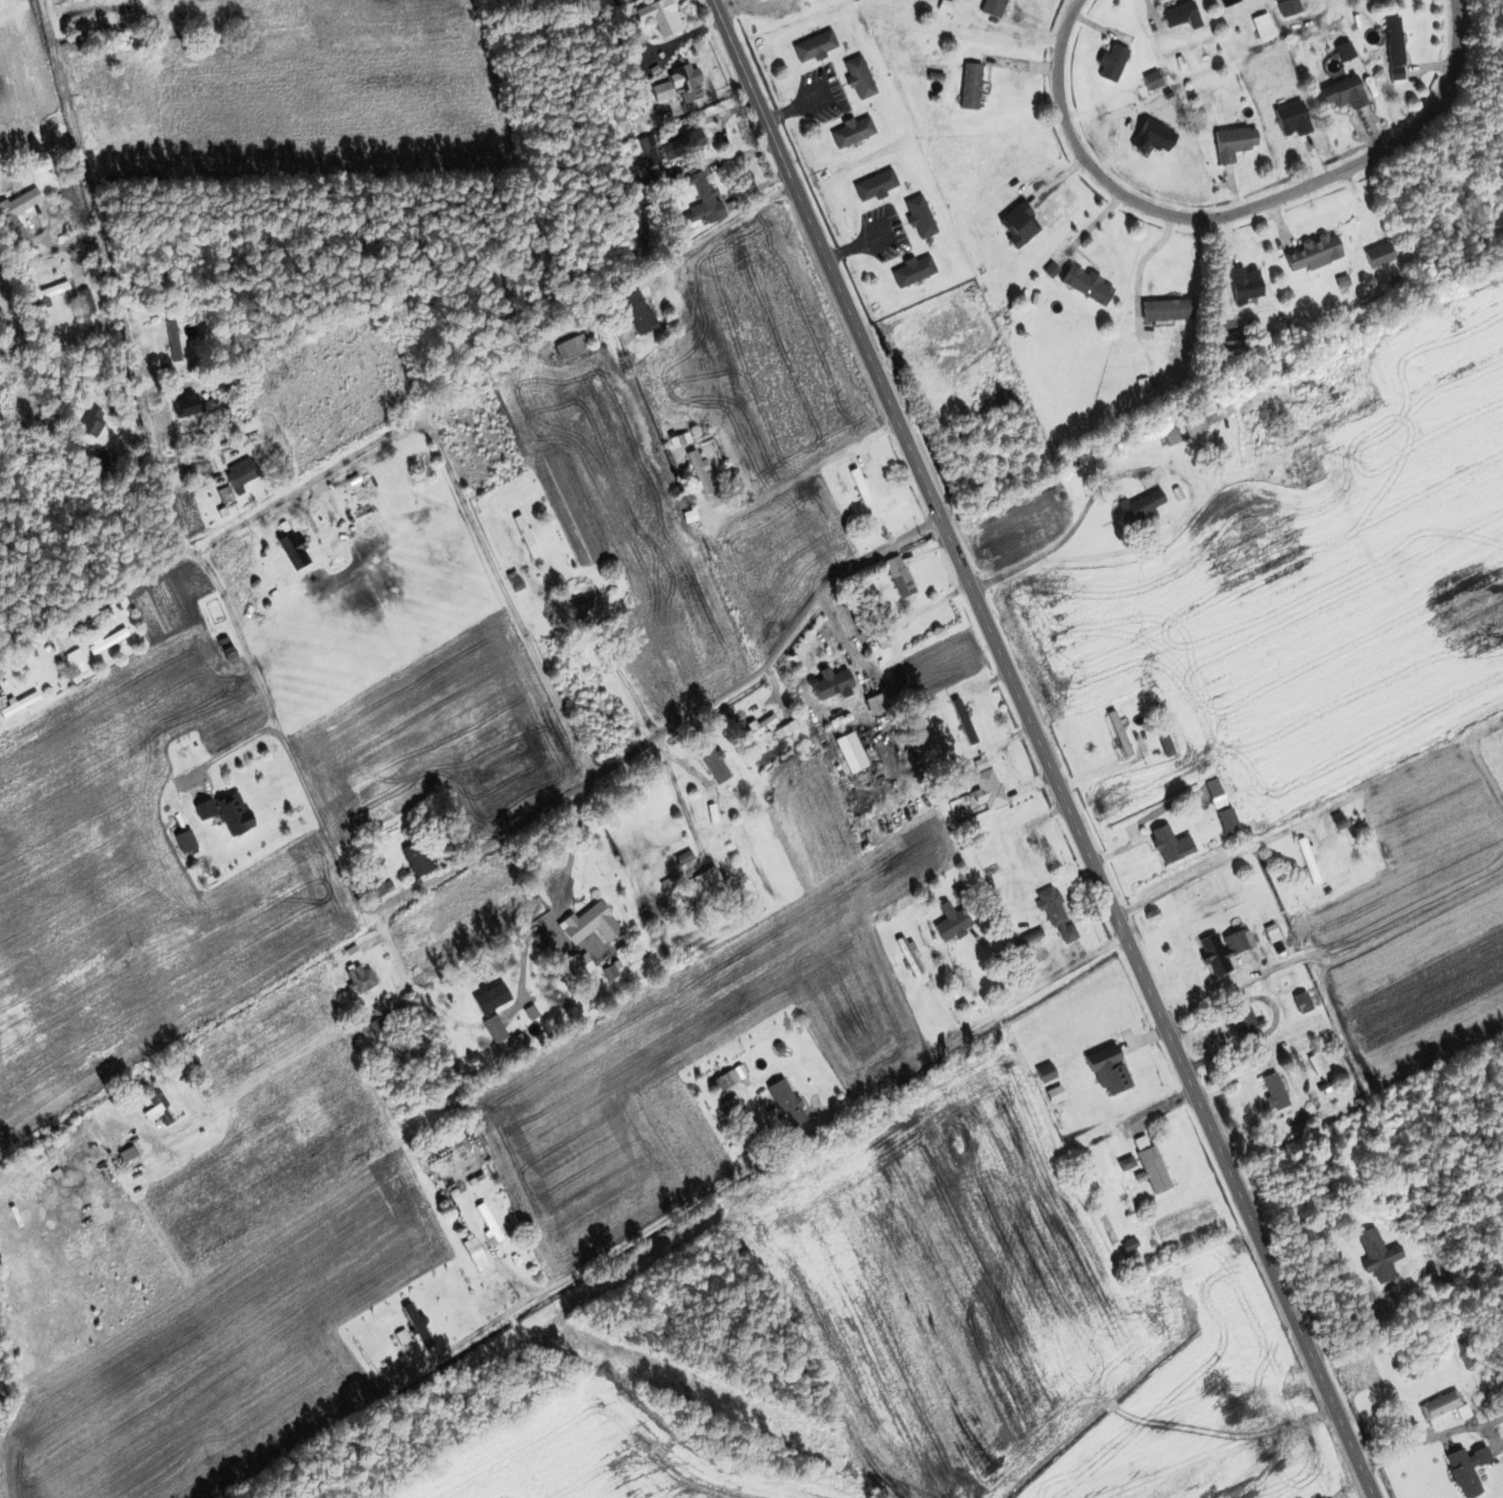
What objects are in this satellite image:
building: (1225, 3)
building: (993, 8)
building: (1181, 15)
building: (660, 17)
building: (1263, 28)
building: (1393, 42)
building: (814, 46)
building: (1112, 63)
building: (859, 78)
building: (683, 79)
building: (1152, 81)
building: (970, 86)
building: (1342, 94)
building: (852, 132)
building: (1233, 143)
building: (682, 146)
building: (875, 186)
building: (702, 202)
road: (1234, 212)
building: (919, 217)
building: (8, 218)
building: (1018, 225)
building: (1314, 253)
building: (1379, 256)
road: (1141, 265)
building: (912, 271)
road: (108, 275)
building: (1086, 285)
building: (85, 301)
building: (1166, 310)
building: (638, 312)
building: (174, 342)
building: (571, 347)
building: (7, 383)
building: (184, 404)
building: (1199, 423)
building: (88, 425)
building: (1306, 461)
building: (240, 472)
building: (699, 473)
road: (802, 474)
road: (448, 481)
building: (860, 490)
building: (225, 495)
building: (1141, 507)
building: (525, 537)
building: (293, 551)
building: (898, 577)
building: (513, 582)
building: (585, 603)
road: (92, 607)
building: (108, 641)
building: (73, 664)
building: (830, 683)
building: (875, 705)
building: (958, 712)
building: (759, 728)
building: (789, 729)
road: (281, 733)
building: (932, 744)
building: (1165, 745)
road: (1042, 749)
building: (713, 765)
building: (987, 790)
building: (1221, 807)
building: (225, 812)
road: (1310, 816)
road: (511, 823)
building: (1339, 823)
building: (1170, 845)
building: (416, 859)
building: (684, 859)
building: (1307, 860)
building: (707, 885)
building: (1056, 916)
building: (950, 922)
building: (588, 924)
building: (1234, 943)
building: (1214, 956)
building: (581, 964)
building: (359, 978)
building: (1302, 1003)
building: (1245, 1023)
building: (1317, 1065)
building: (1108, 1072)
building: (1046, 1076)
building: (727, 1079)
building: (1274, 1093)
building: (785, 1104)
building: (157, 1108)
building: (123, 1124)
building: (126, 1155)
building: (1126, 1164)
road: (737, 1171)
building: (1152, 1171)
building: (488, 1223)
building: (475, 1255)
building: (1377, 1255)
building: (499, 1298)
building: (1440, 1406)
road: (1430, 1435)
building: (1462, 1474)

